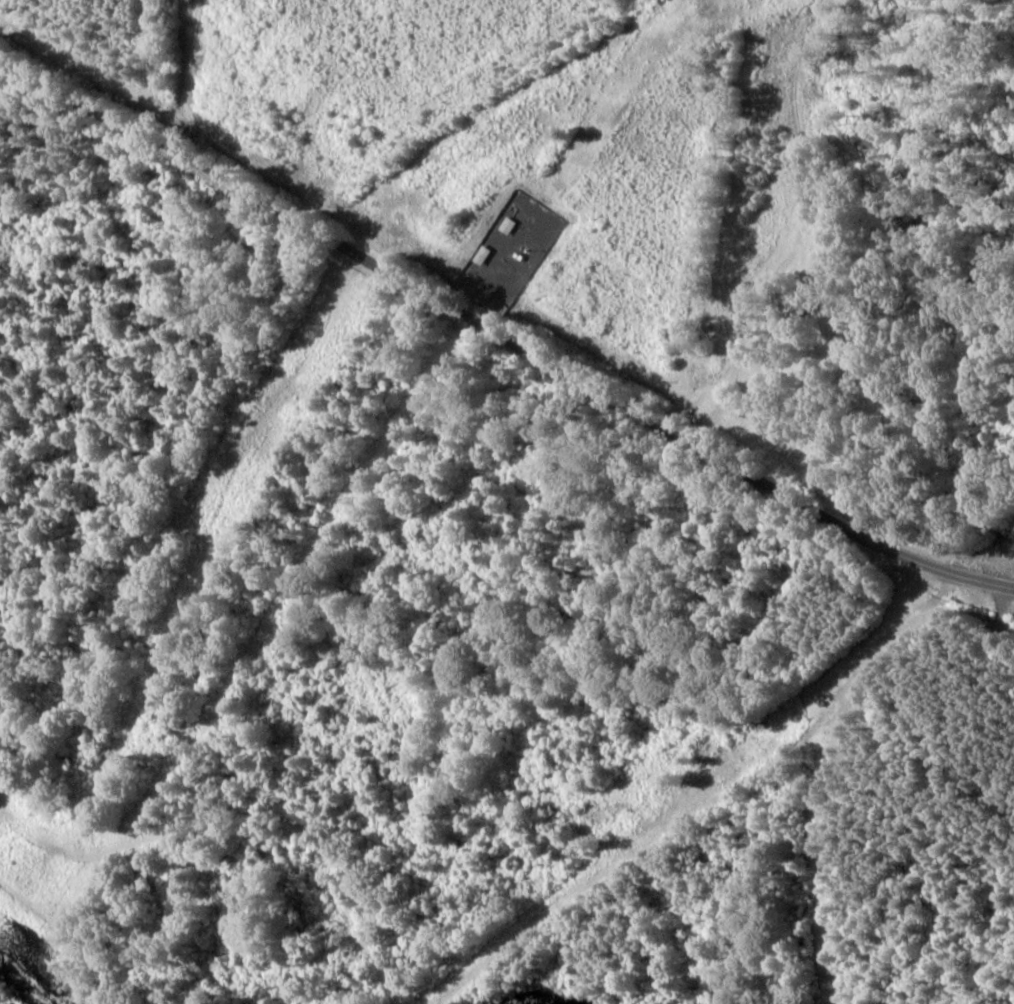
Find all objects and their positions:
road: (499, 388)

